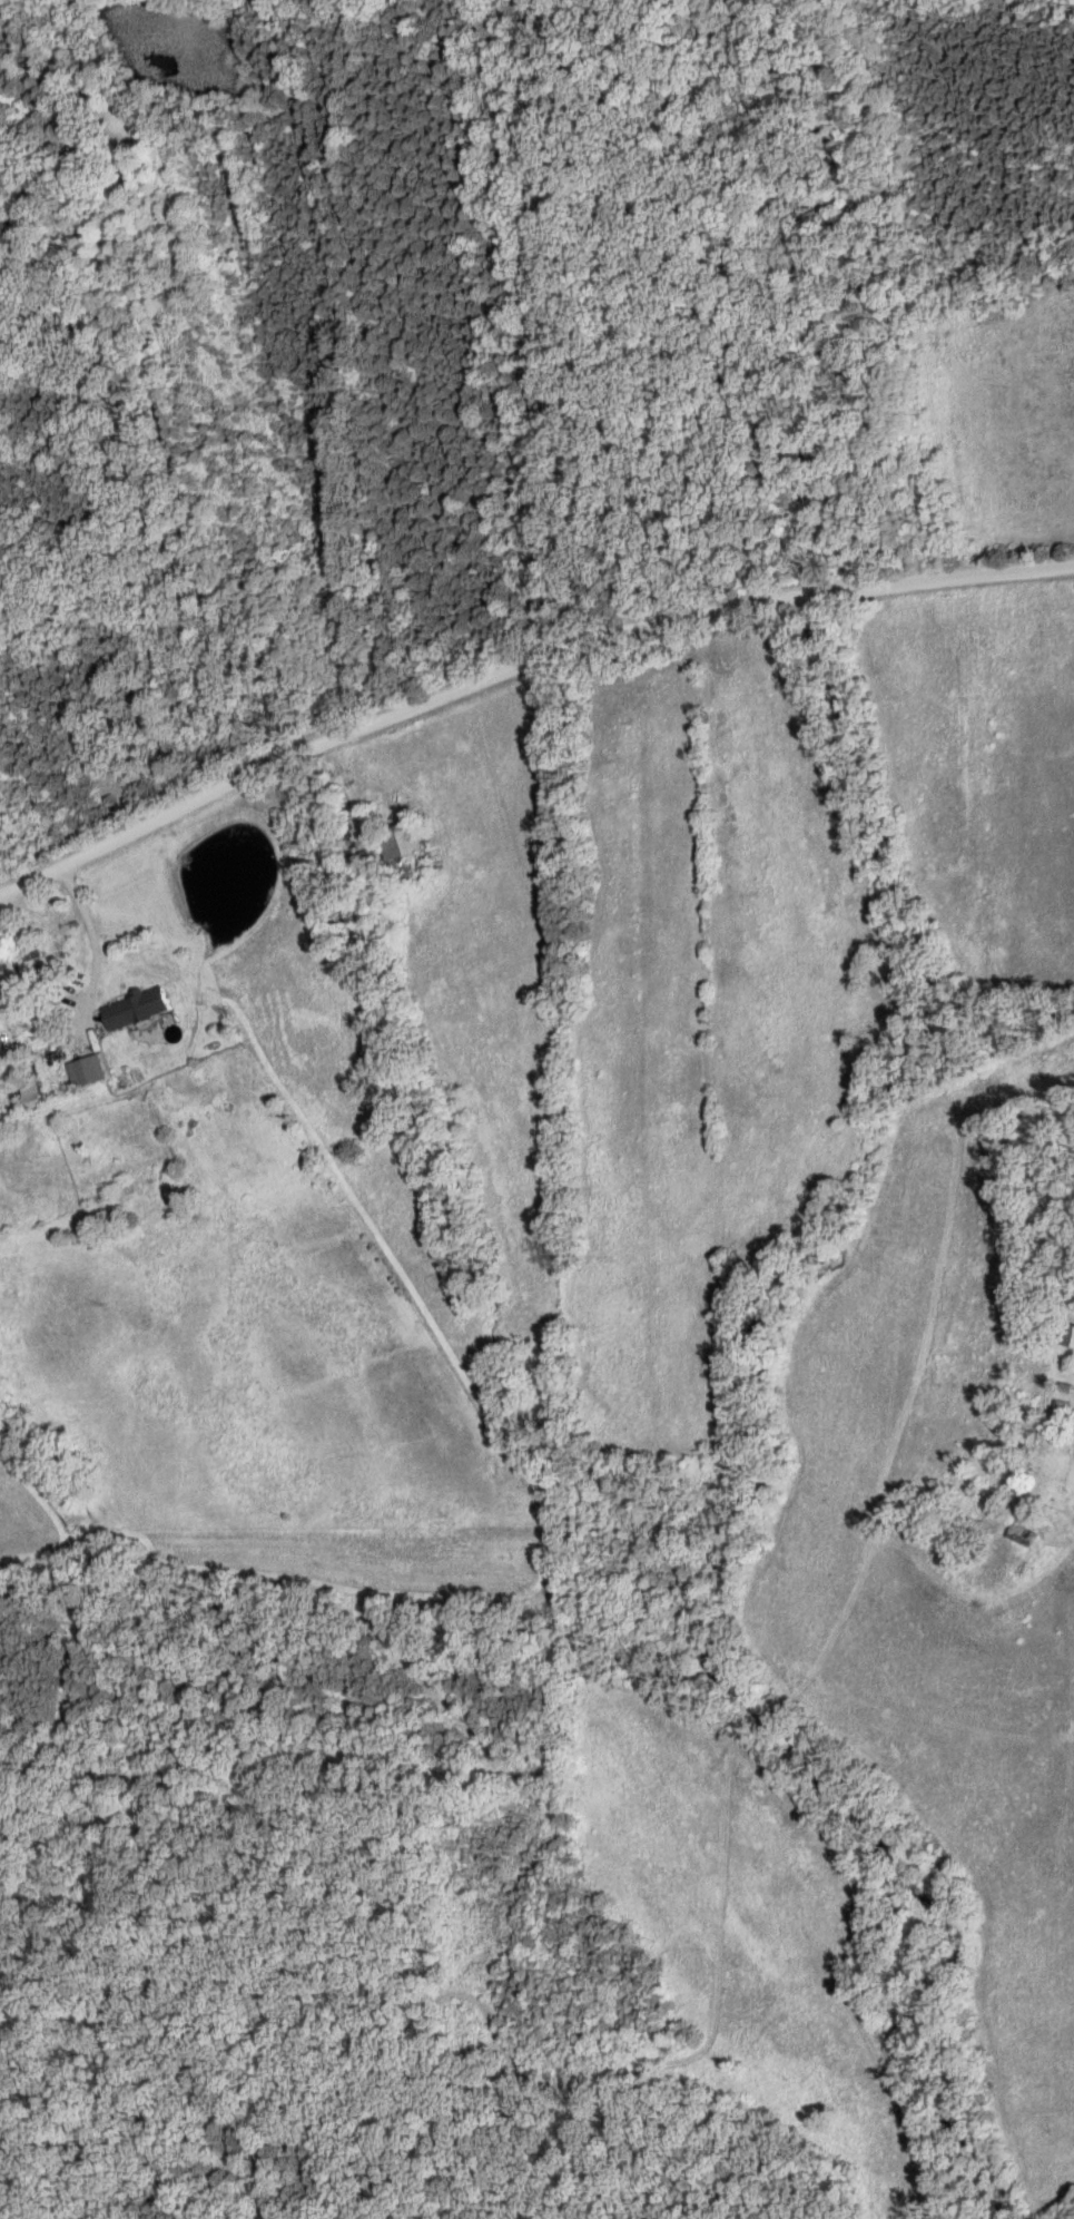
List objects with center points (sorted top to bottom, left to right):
building: (83, 86)
road: (516, 666)
building: (410, 857)
road: (89, 986)
building: (139, 1011)
building: (87, 1073)
building: (1068, 1337)
building: (1019, 1521)

